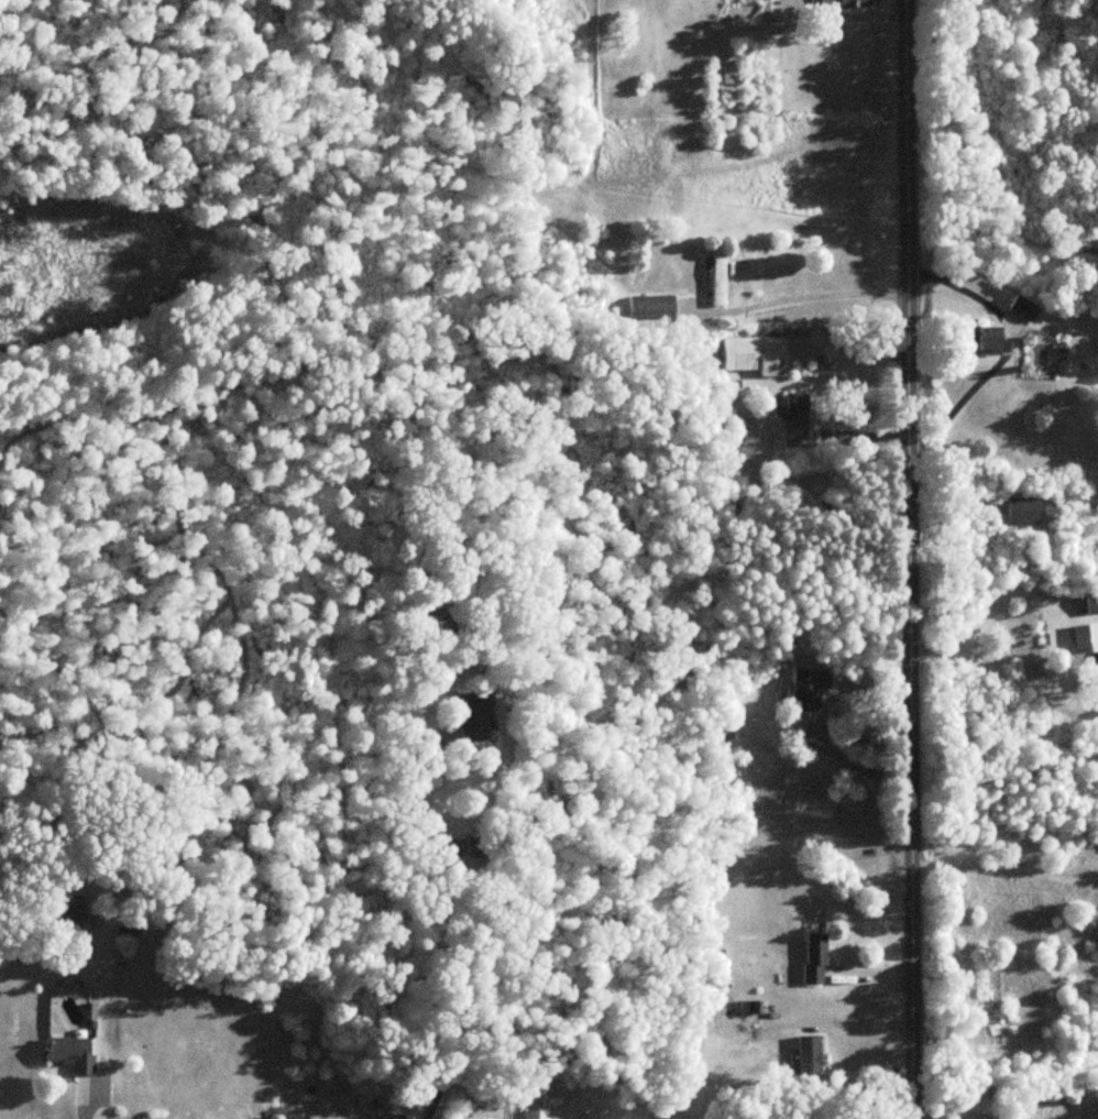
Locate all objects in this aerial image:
building: (850, 3)
building: (716, 279)
road: (812, 295)
building: (648, 306)
building: (1019, 309)
building: (977, 340)
building: (750, 355)
building: (792, 418)
building: (1020, 511)
road: (910, 559)
building: (1089, 601)
road: (1065, 622)
building: (805, 689)
building: (470, 715)
road: (841, 756)
road: (1006, 868)
building: (64, 914)
road: (449, 948)
building: (810, 959)
building: (991, 995)
building: (68, 1055)
building: (805, 1058)
road: (80, 1105)
building: (535, 1115)
building: (996, 1115)
building: (389, 1117)

